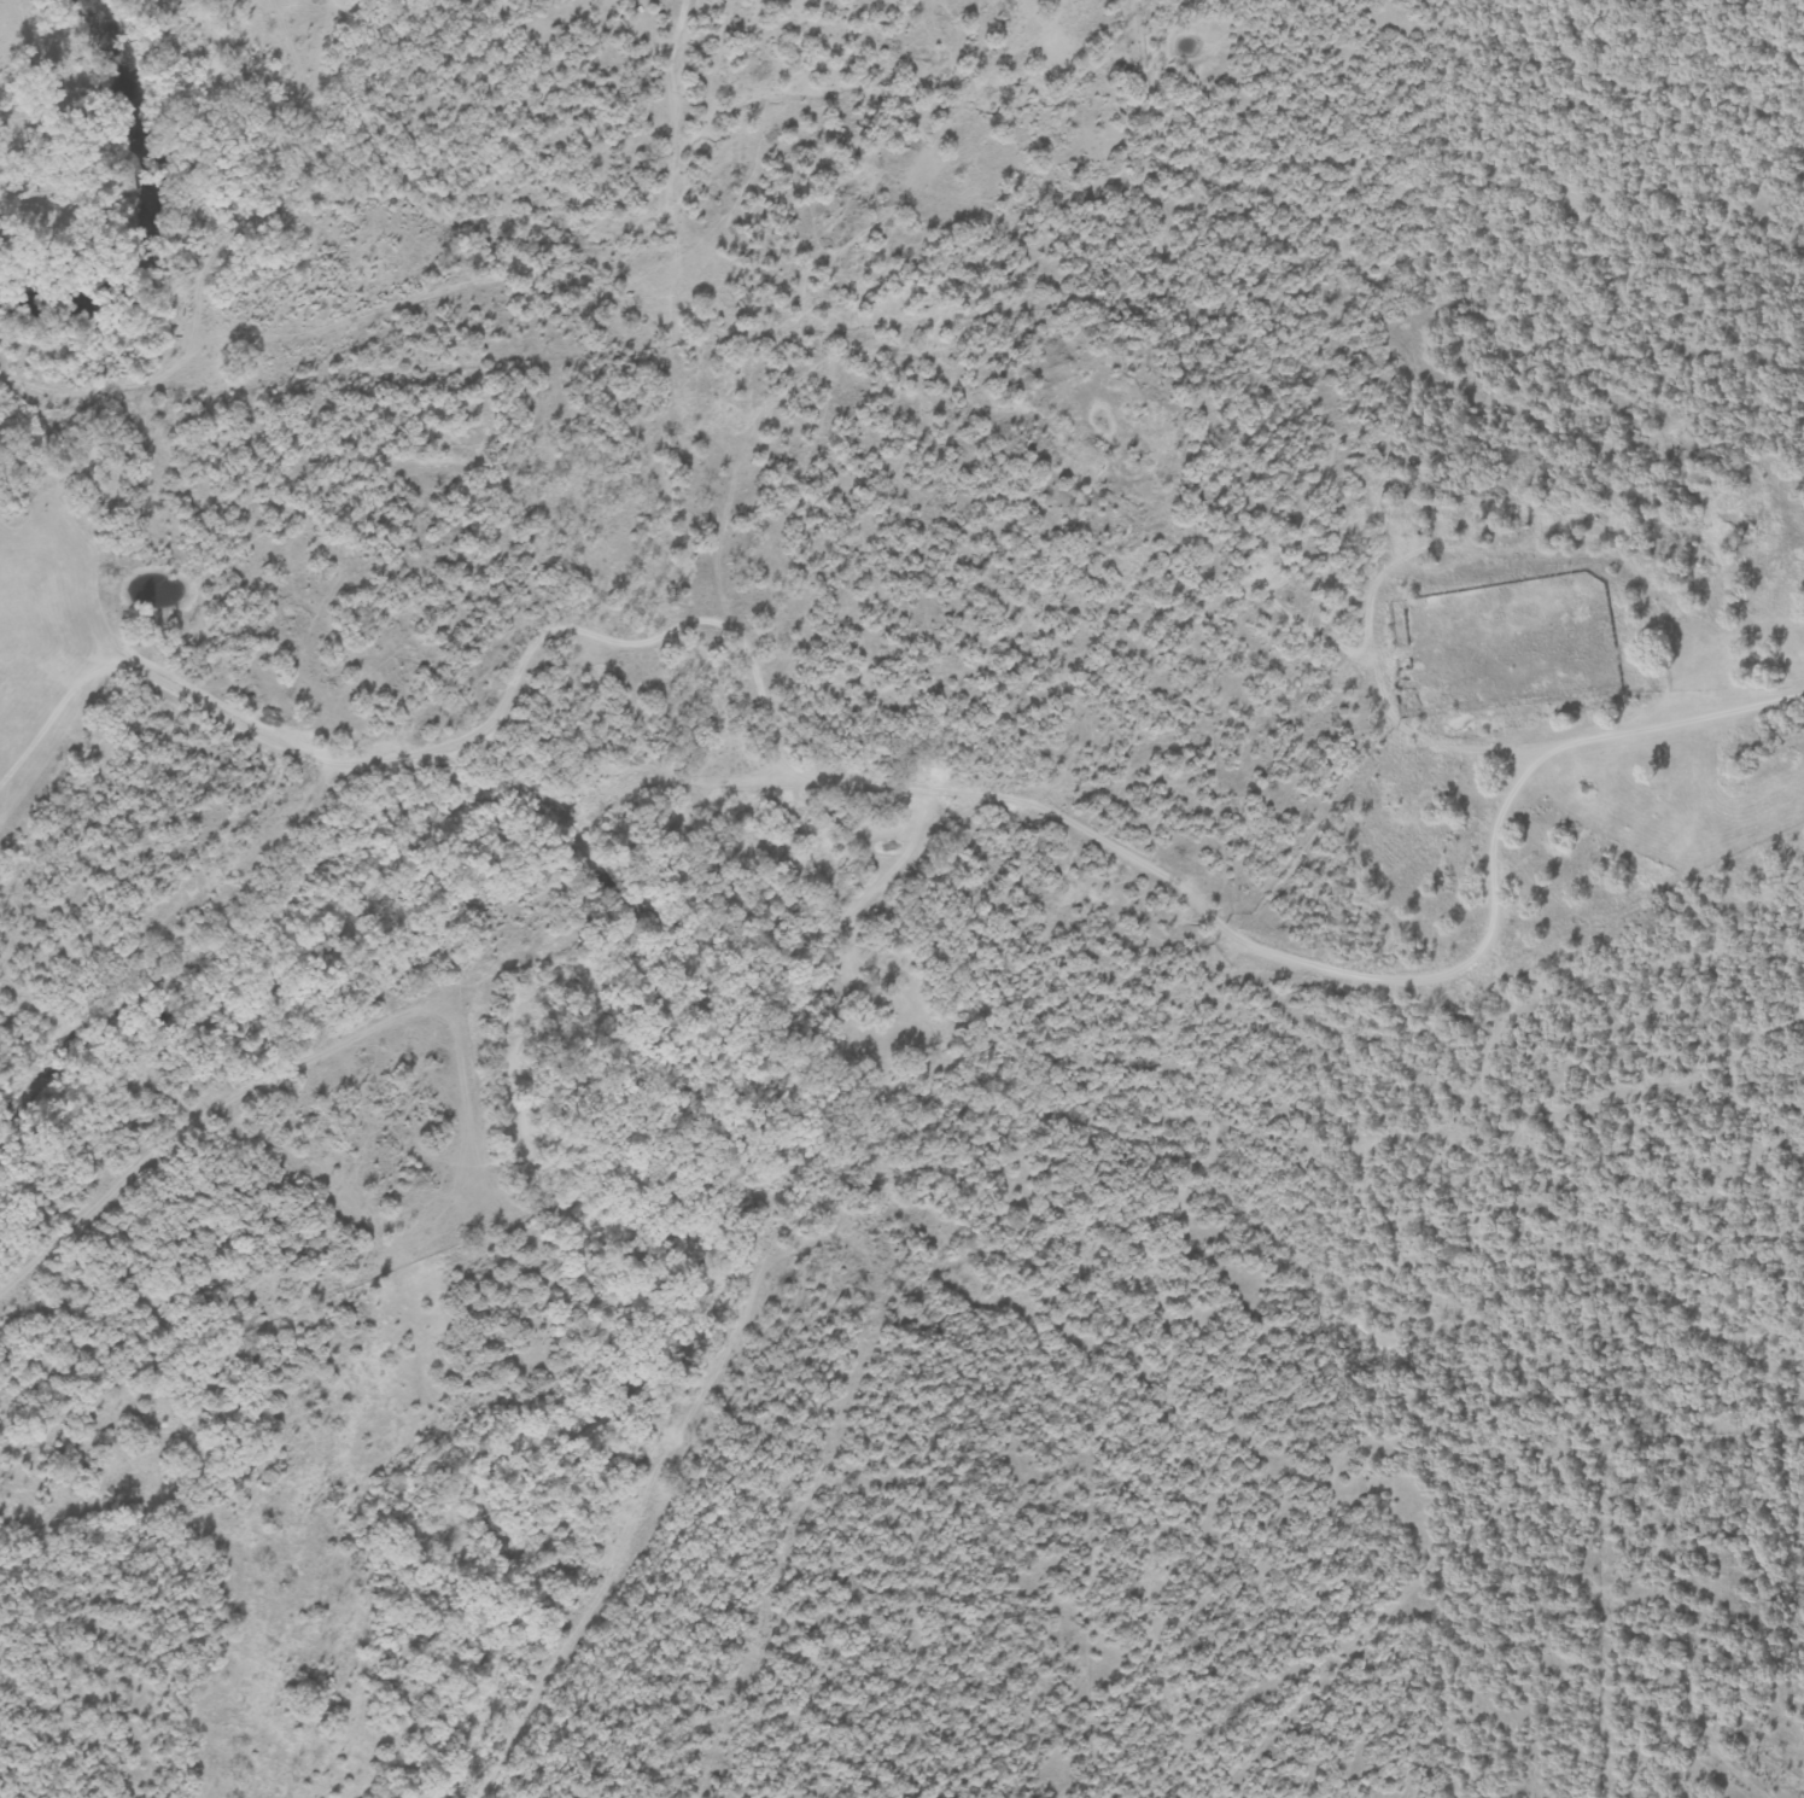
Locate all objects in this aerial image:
road: (460, 737)
road: (623, 784)

